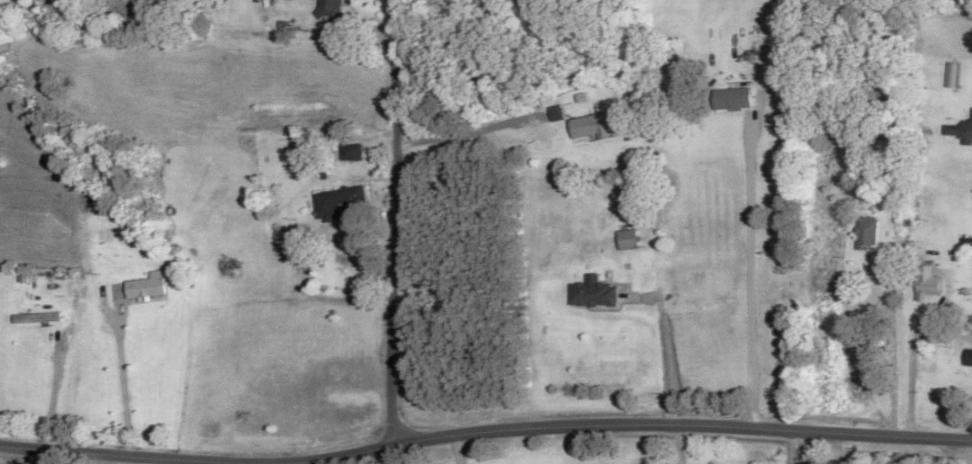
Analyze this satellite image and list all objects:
building: (328, 8)
building: (731, 99)
building: (595, 125)
building: (959, 131)
building: (351, 152)
building: (337, 201)
road: (411, 223)
building: (868, 234)
building: (928, 284)
building: (146, 288)
building: (594, 295)
building: (37, 319)
building: (969, 359)
road: (682, 415)
road: (800, 449)
road: (112, 452)
road: (341, 455)

